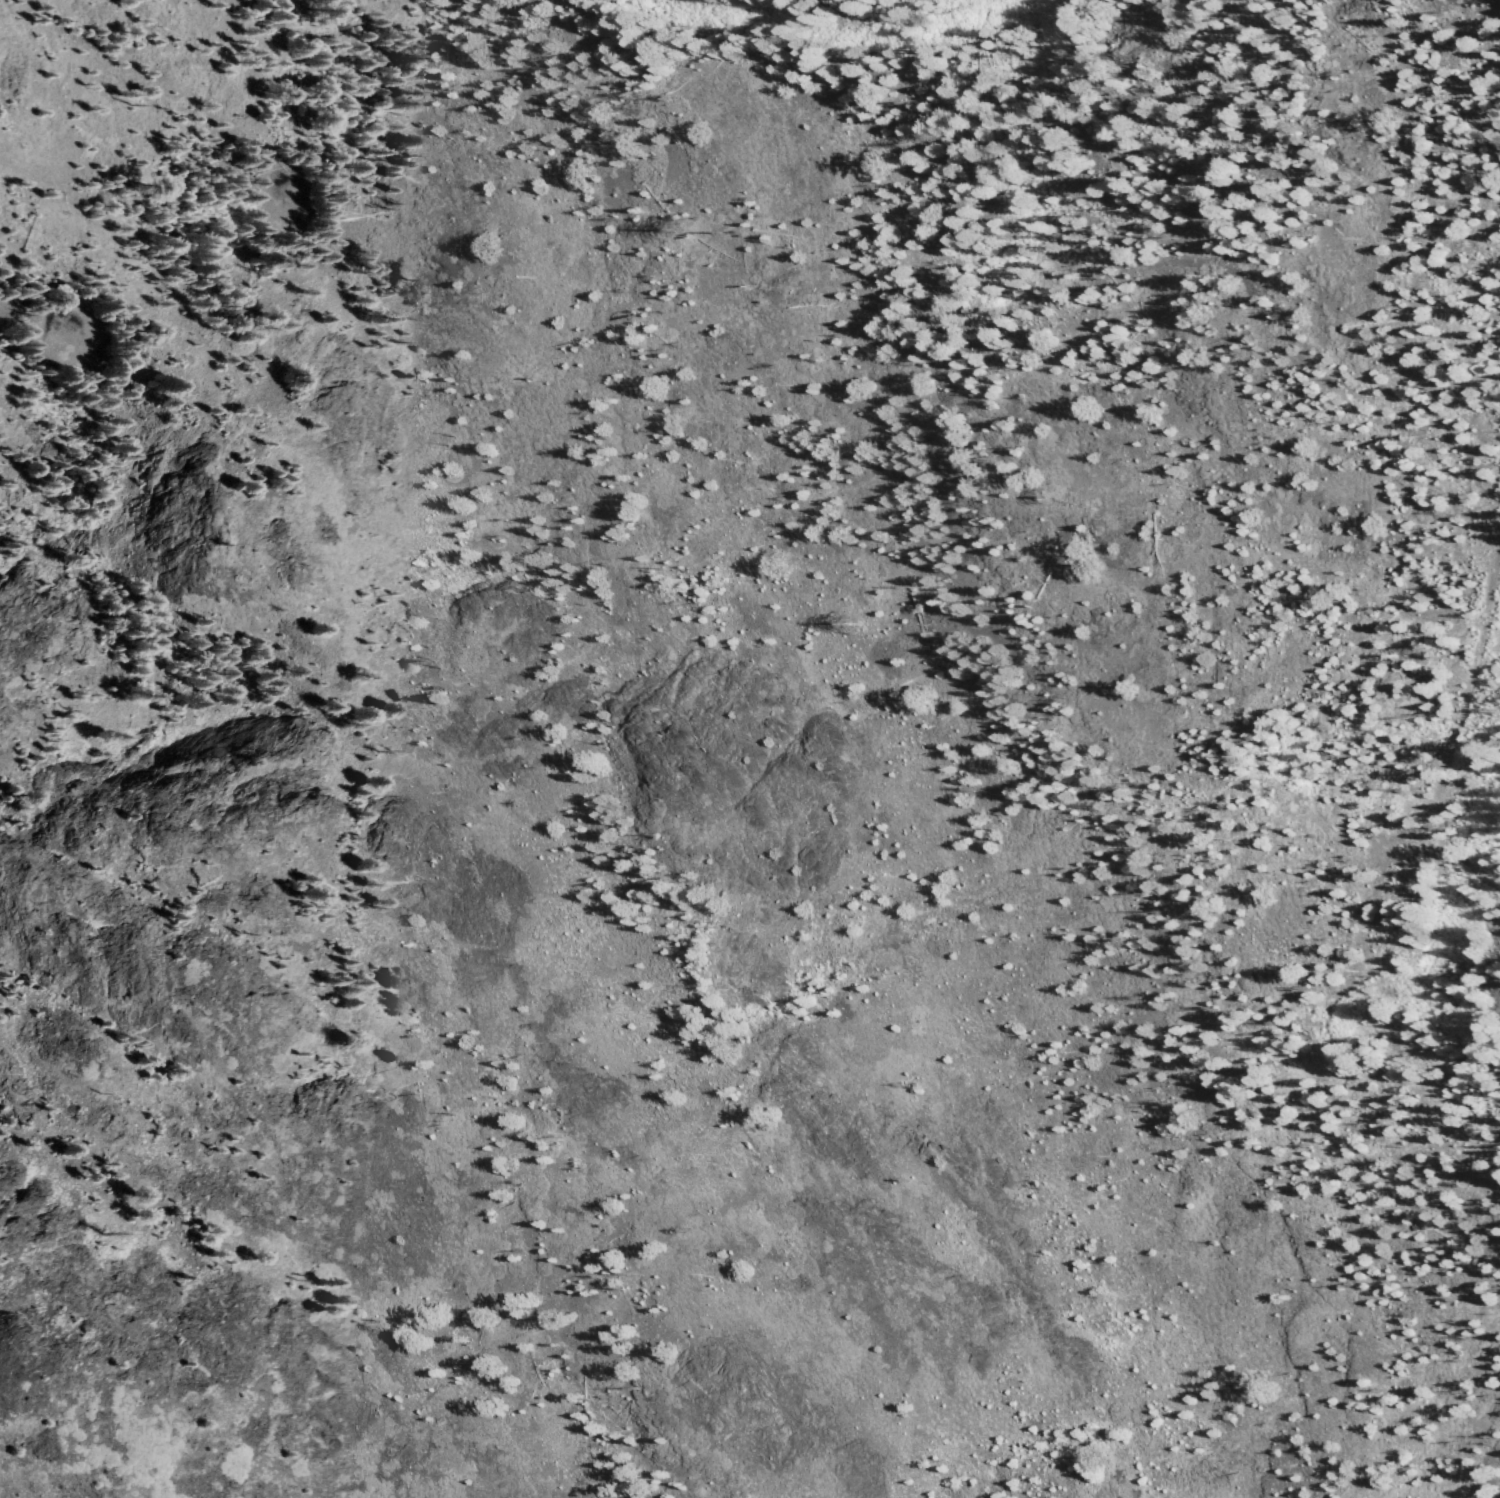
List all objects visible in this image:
road: (1178, 259)
road: (1458, 726)

